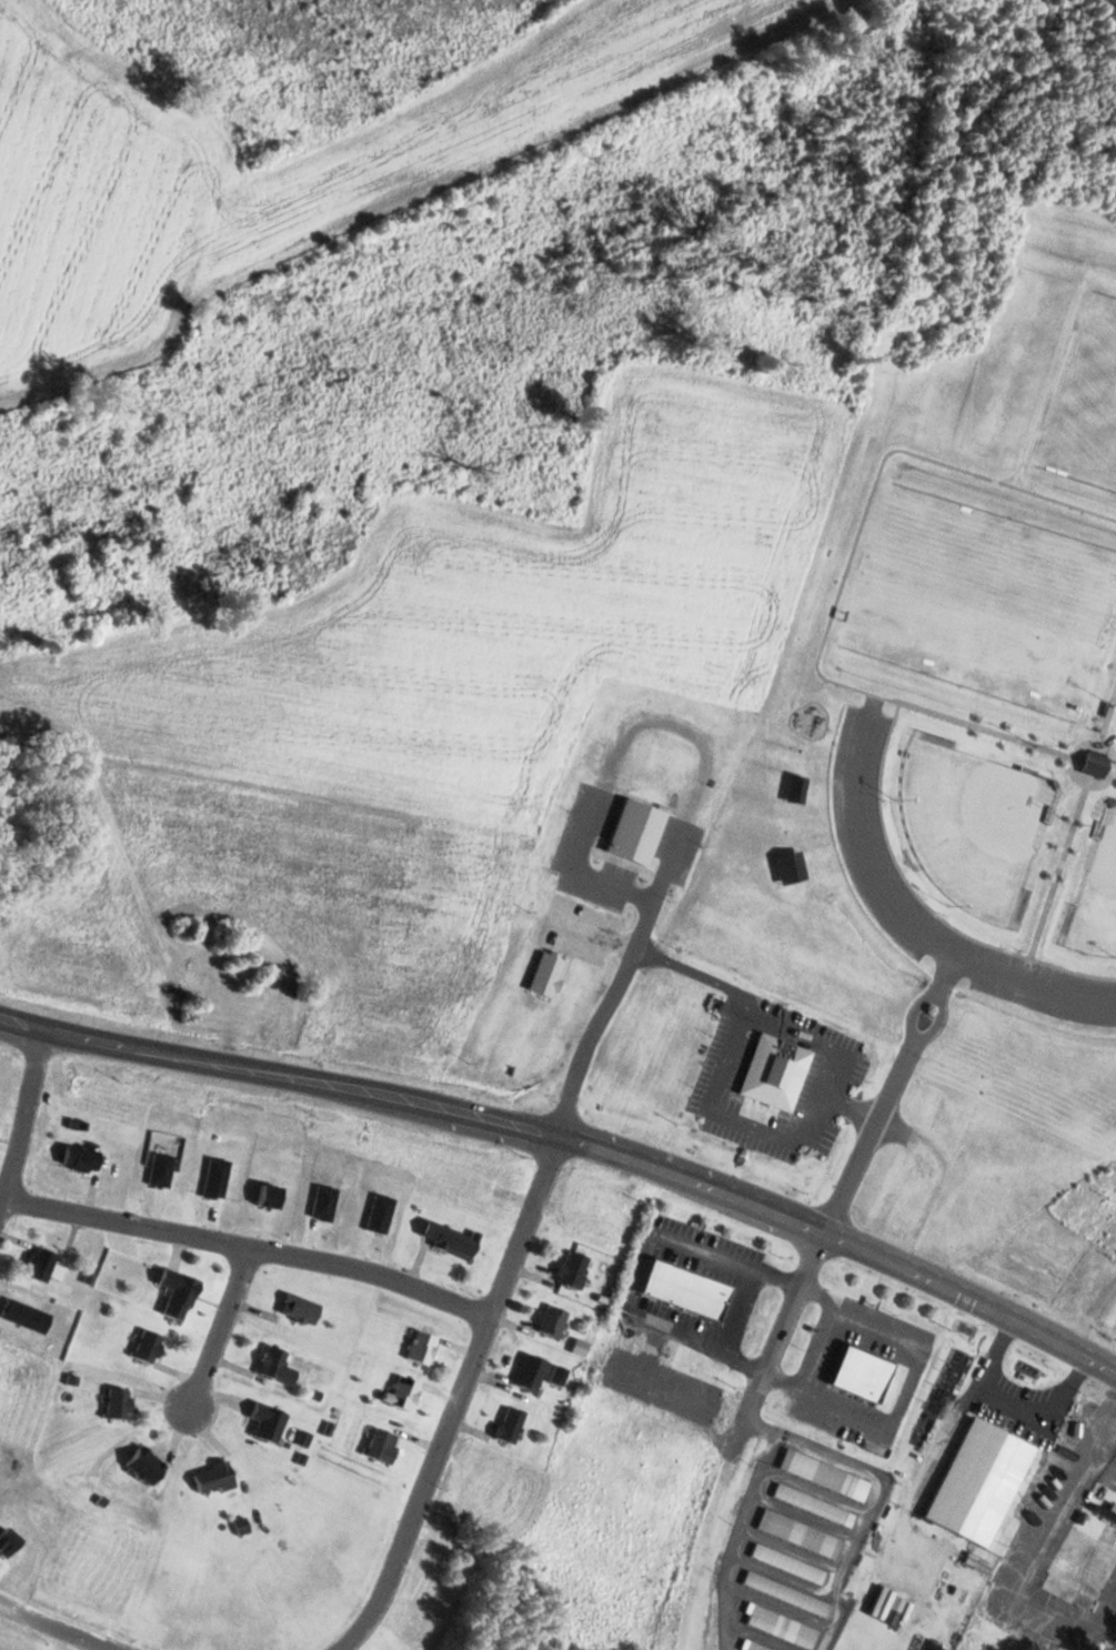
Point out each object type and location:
park: (1087, 394)
road: (873, 486)
park: (983, 603)
park: (963, 624)
road: (1107, 715)
road: (985, 728)
road: (1114, 757)
building: (1090, 762)
road: (1114, 771)
building: (792, 787)
park: (972, 824)
building: (640, 829)
road: (667, 862)
parking lot: (868, 863)
building: (785, 865)
road: (581, 871)
road: (1058, 871)
park: (1097, 896)
road: (922, 899)
road: (902, 915)
building: (566, 916)
road: (949, 972)
building: (547, 973)
road: (698, 973)
building: (536, 987)
road: (915, 1009)
road: (603, 1015)
road: (938, 1022)
road: (153, 1050)
building: (778, 1070)
road: (433, 1104)
road: (849, 1107)
road: (21, 1119)
road: (798, 1137)
road: (867, 1138)
building: (83, 1159)
building: (479, 1193)
building: (594, 1220)
road: (843, 1239)
building: (454, 1240)
road: (249, 1244)
building: (43, 1264)
building: (574, 1268)
road: (795, 1280)
building: (687, 1289)
building: (180, 1294)
building: (293, 1312)
building: (554, 1320)
road: (220, 1324)
road: (776, 1335)
building: (150, 1346)
building: (422, 1347)
building: (273, 1362)
building: (532, 1372)
building: (864, 1374)
building: (404, 1394)
road: (459, 1398)
building: (120, 1402)
building: (512, 1425)
building: (383, 1446)
building: (148, 1466)
building: (826, 1475)
building: (217, 1476)
building: (982, 1482)
building: (815, 1505)
building: (801, 1533)
building: (1088, 1550)
building: (790, 1563)
building: (953, 1590)
building: (787, 1593)
building: (784, 1627)
road: (57, 1628)
building: (757, 1646)

